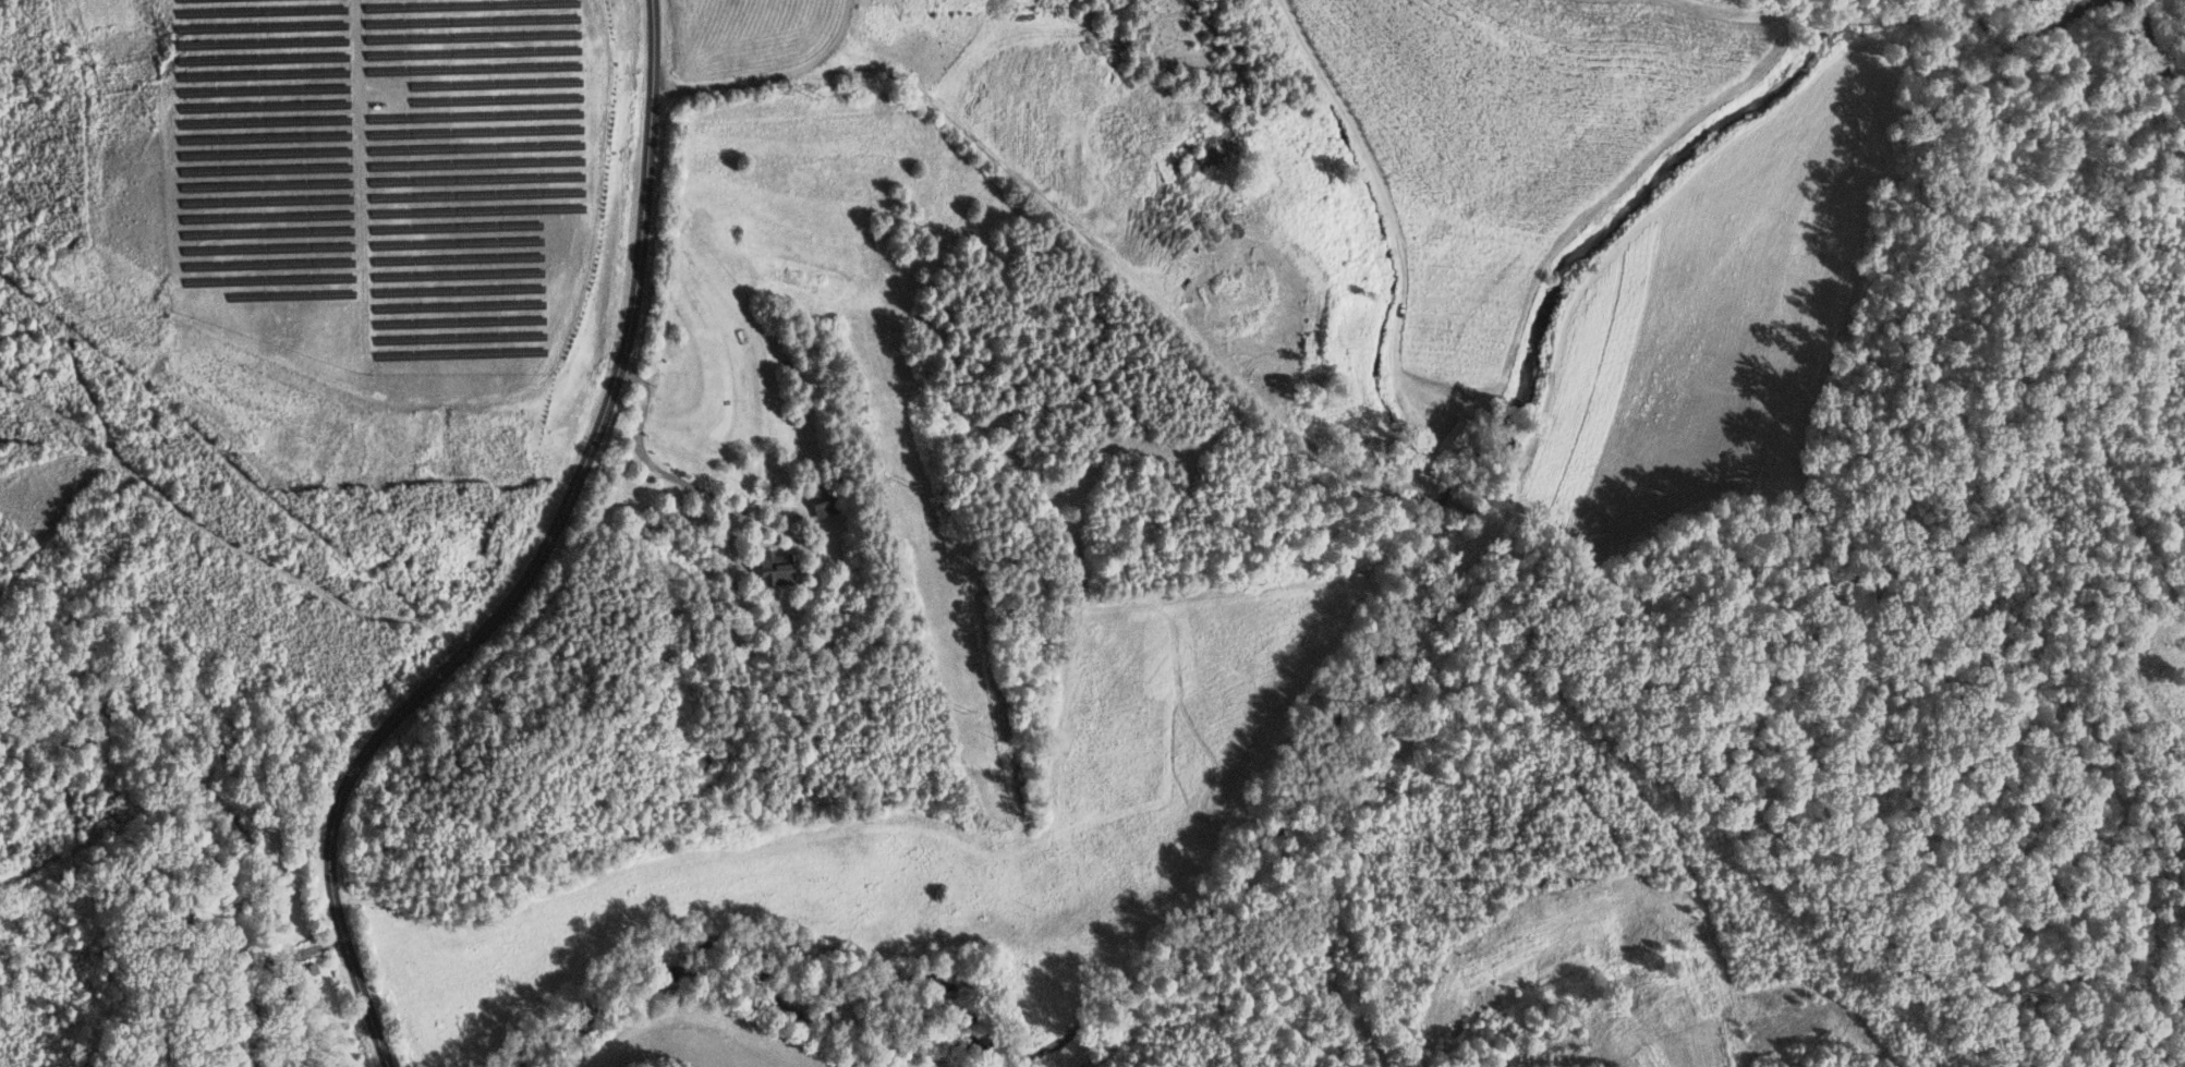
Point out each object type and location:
road: (754, 61)
road: (672, 476)
building: (818, 499)
road: (536, 563)
building: (769, 567)
road: (262, 975)

